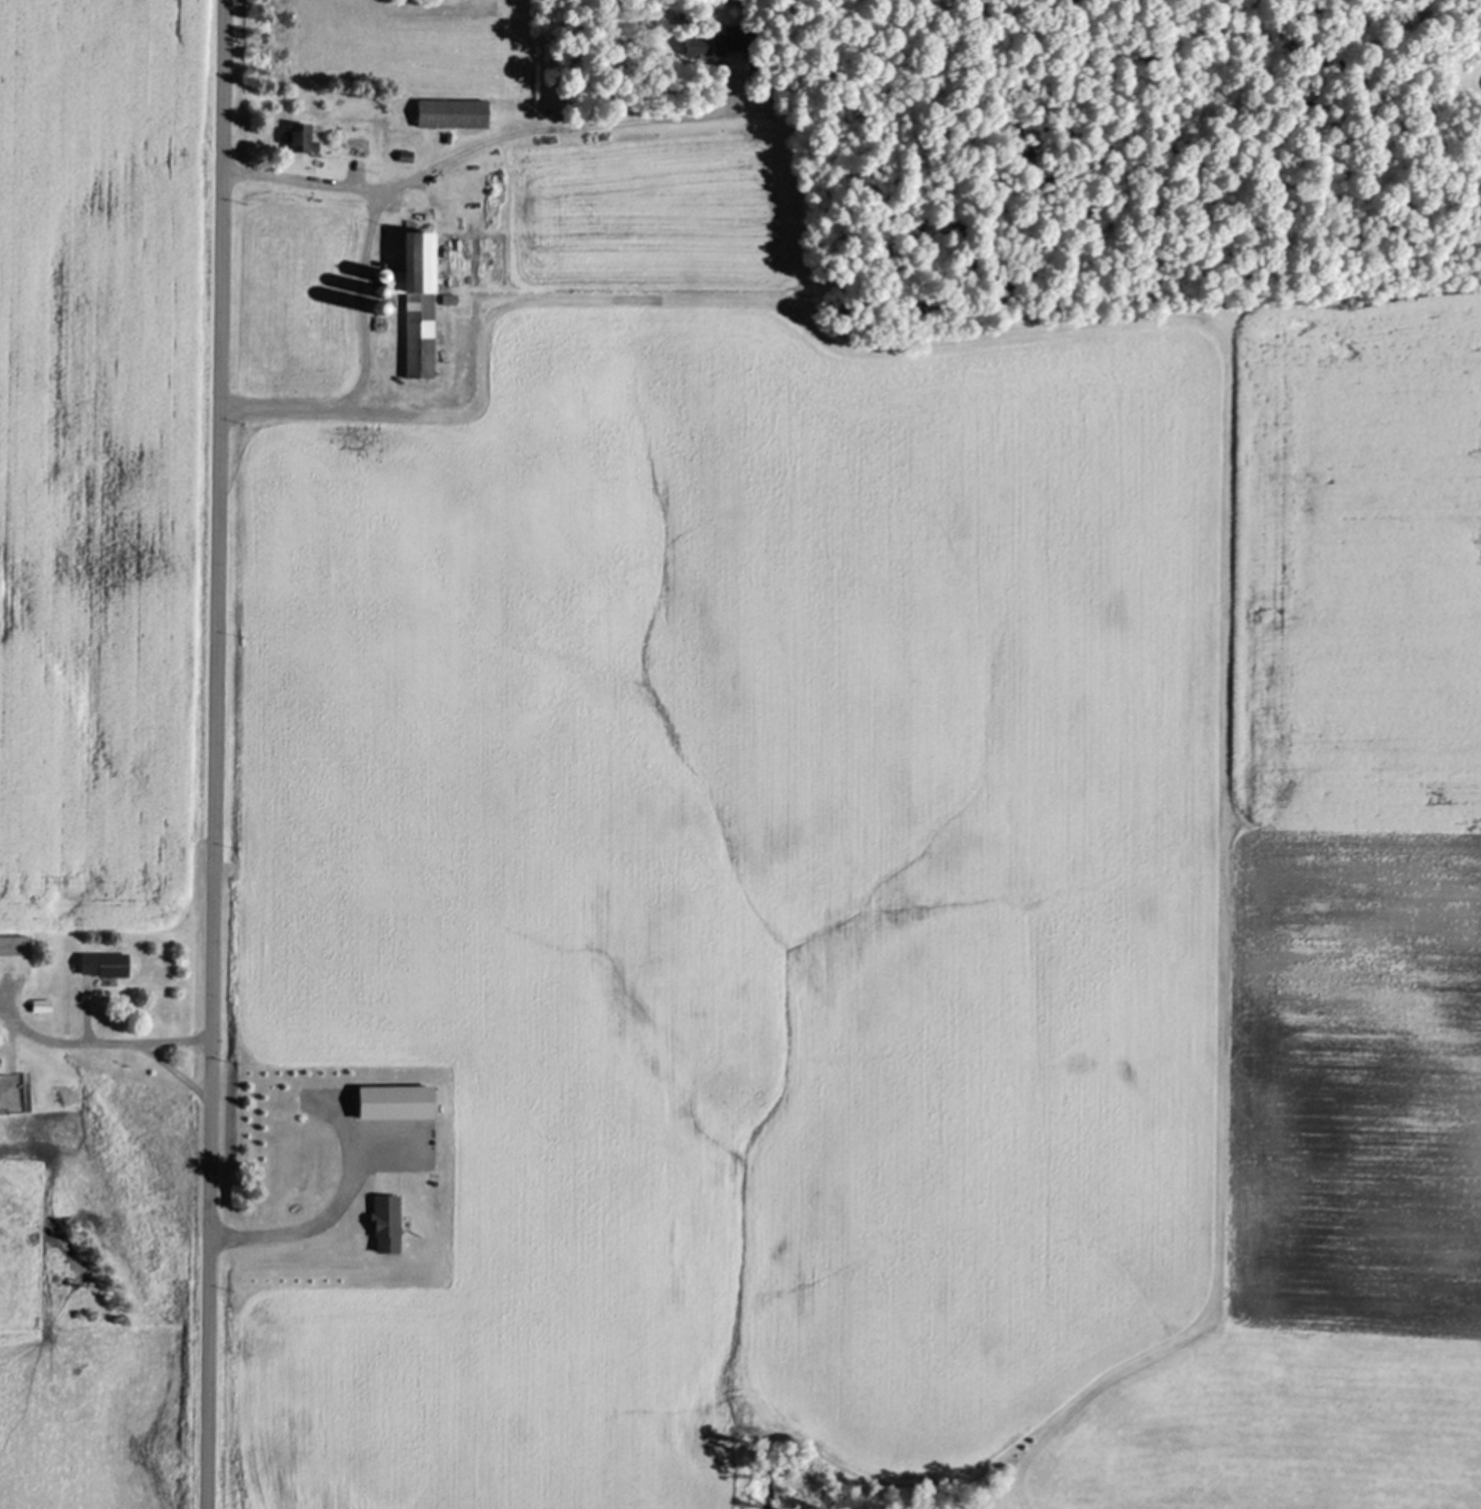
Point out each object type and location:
building: (1475, 33)
building: (718, 39)
building: (454, 112)
building: (588, 112)
building: (301, 135)
building: (448, 135)
building: (357, 144)
building: (407, 154)
building: (381, 290)
building: (452, 298)
building: (416, 299)
building: (381, 318)
road: (214, 754)
building: (15, 952)
building: (105, 963)
building: (42, 1004)
building: (1, 1027)
building: (0, 1039)
building: (0, 1054)
building: (396, 1102)
building: (384, 1221)

